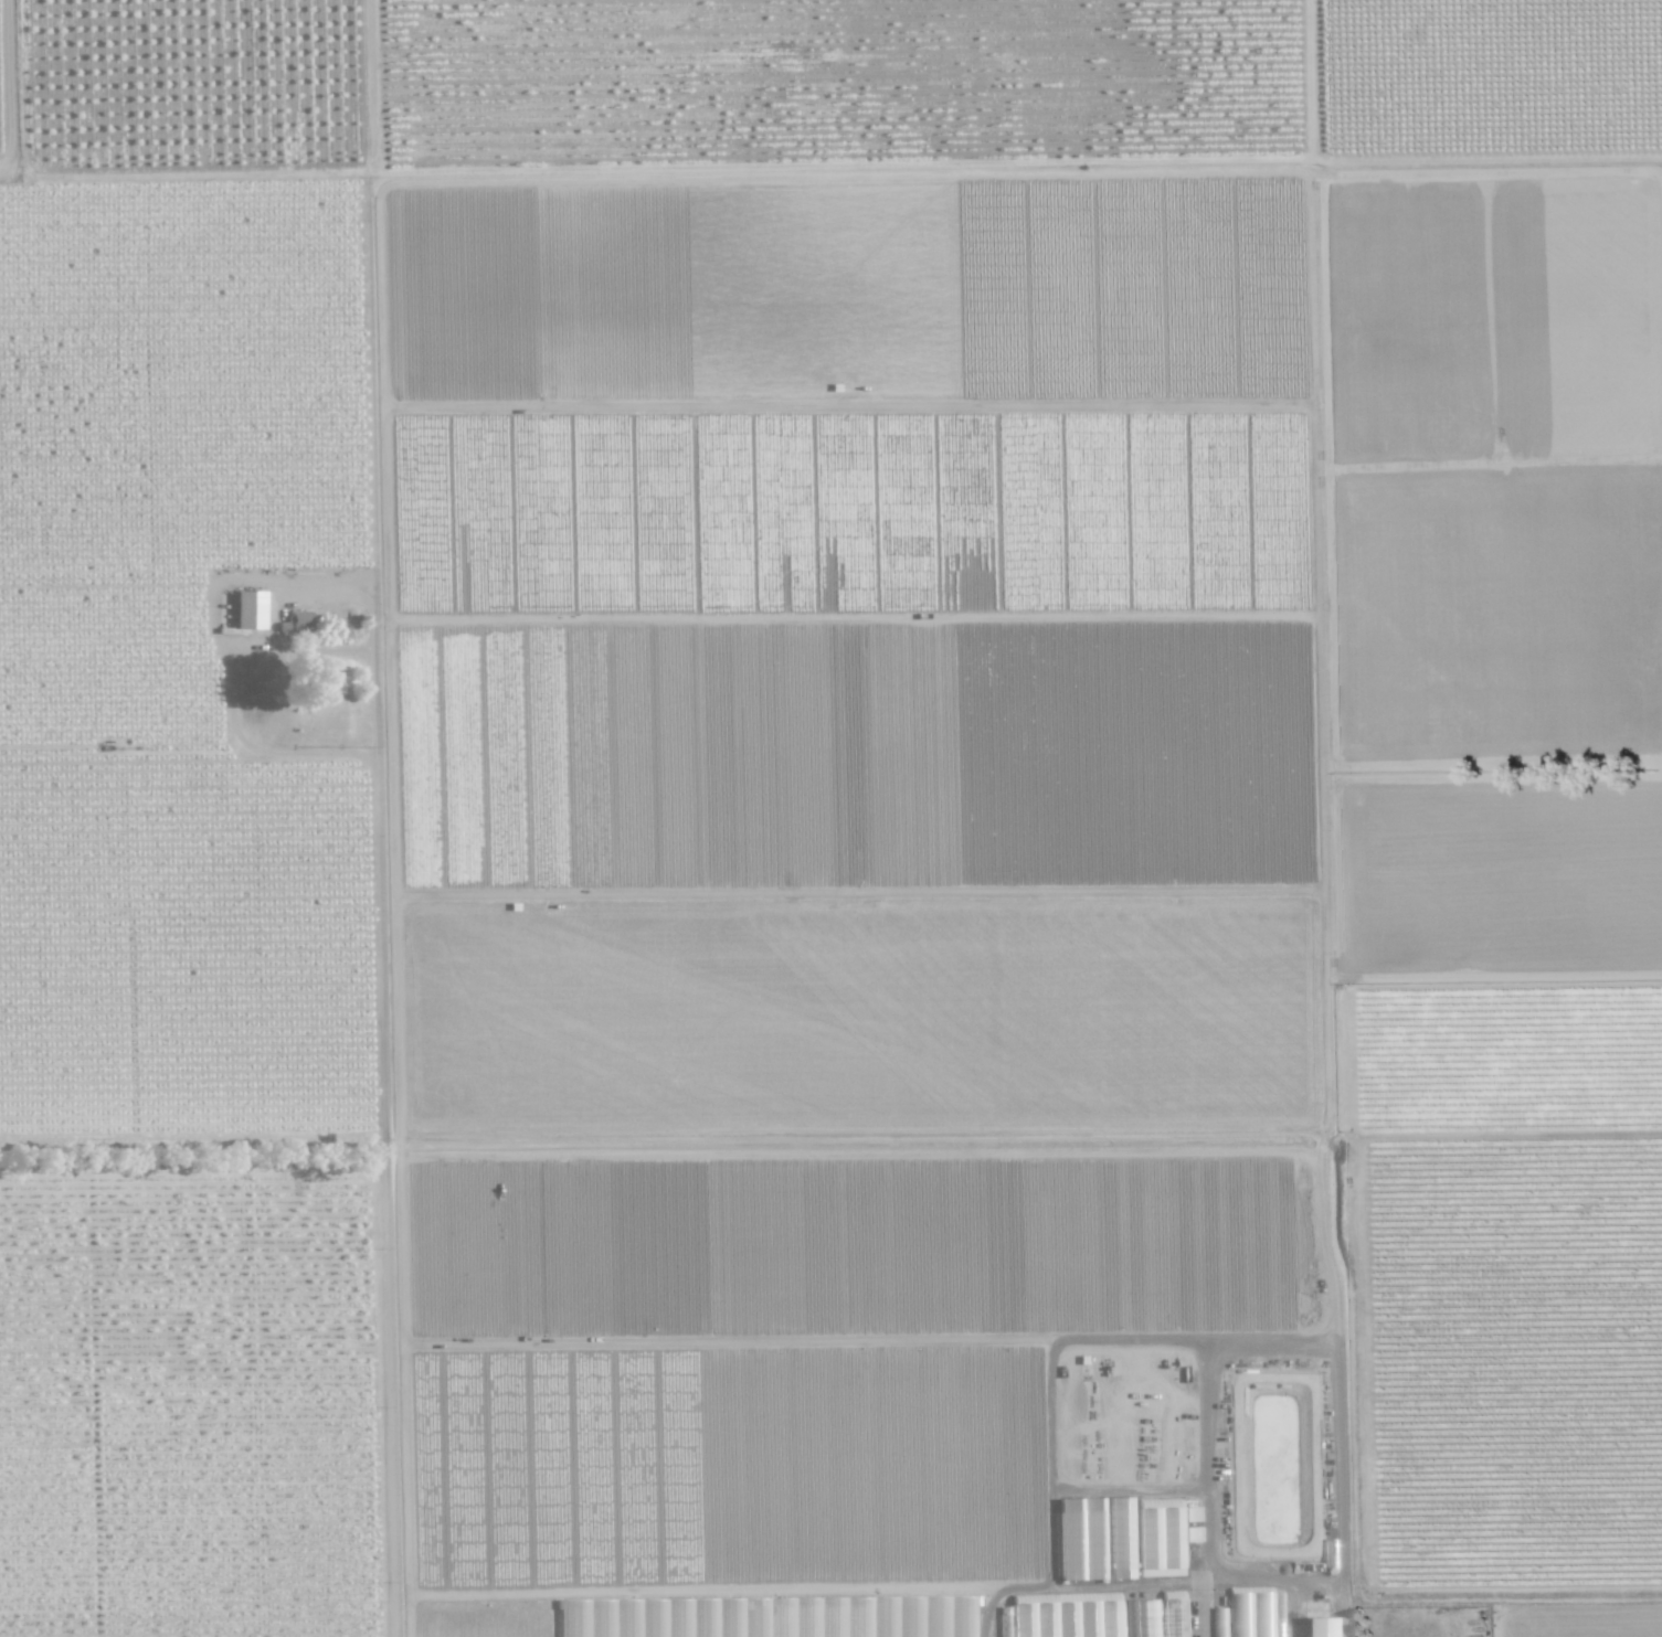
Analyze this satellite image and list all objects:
building: (248, 610)
building: (299, 620)
building: (332, 684)
road: (263, 704)
road: (381, 818)
building: (1120, 1538)
building: (1081, 1540)
building: (1162, 1542)
road: (1194, 1596)
building: (1173, 1614)
building: (1141, 1618)
building: (1058, 1619)
building: (1319, 1627)

